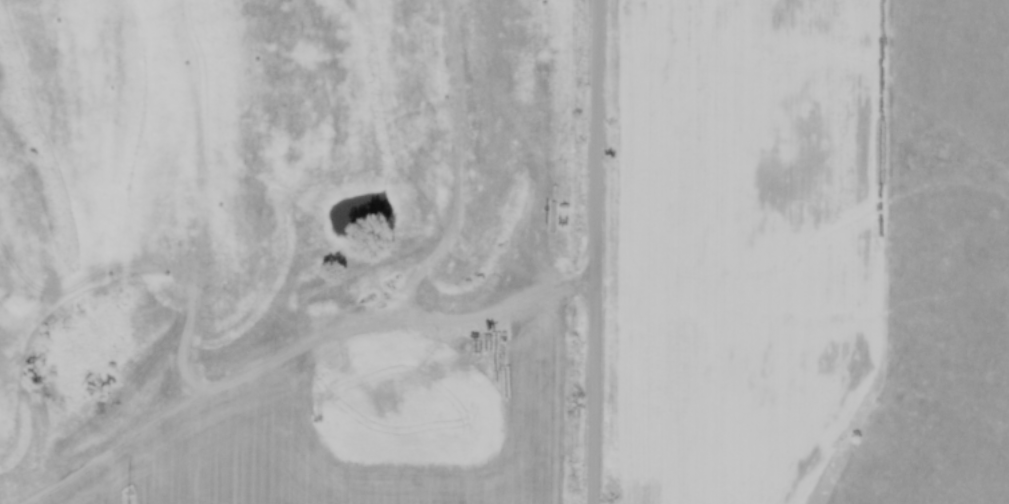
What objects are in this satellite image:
road: (597, 251)

